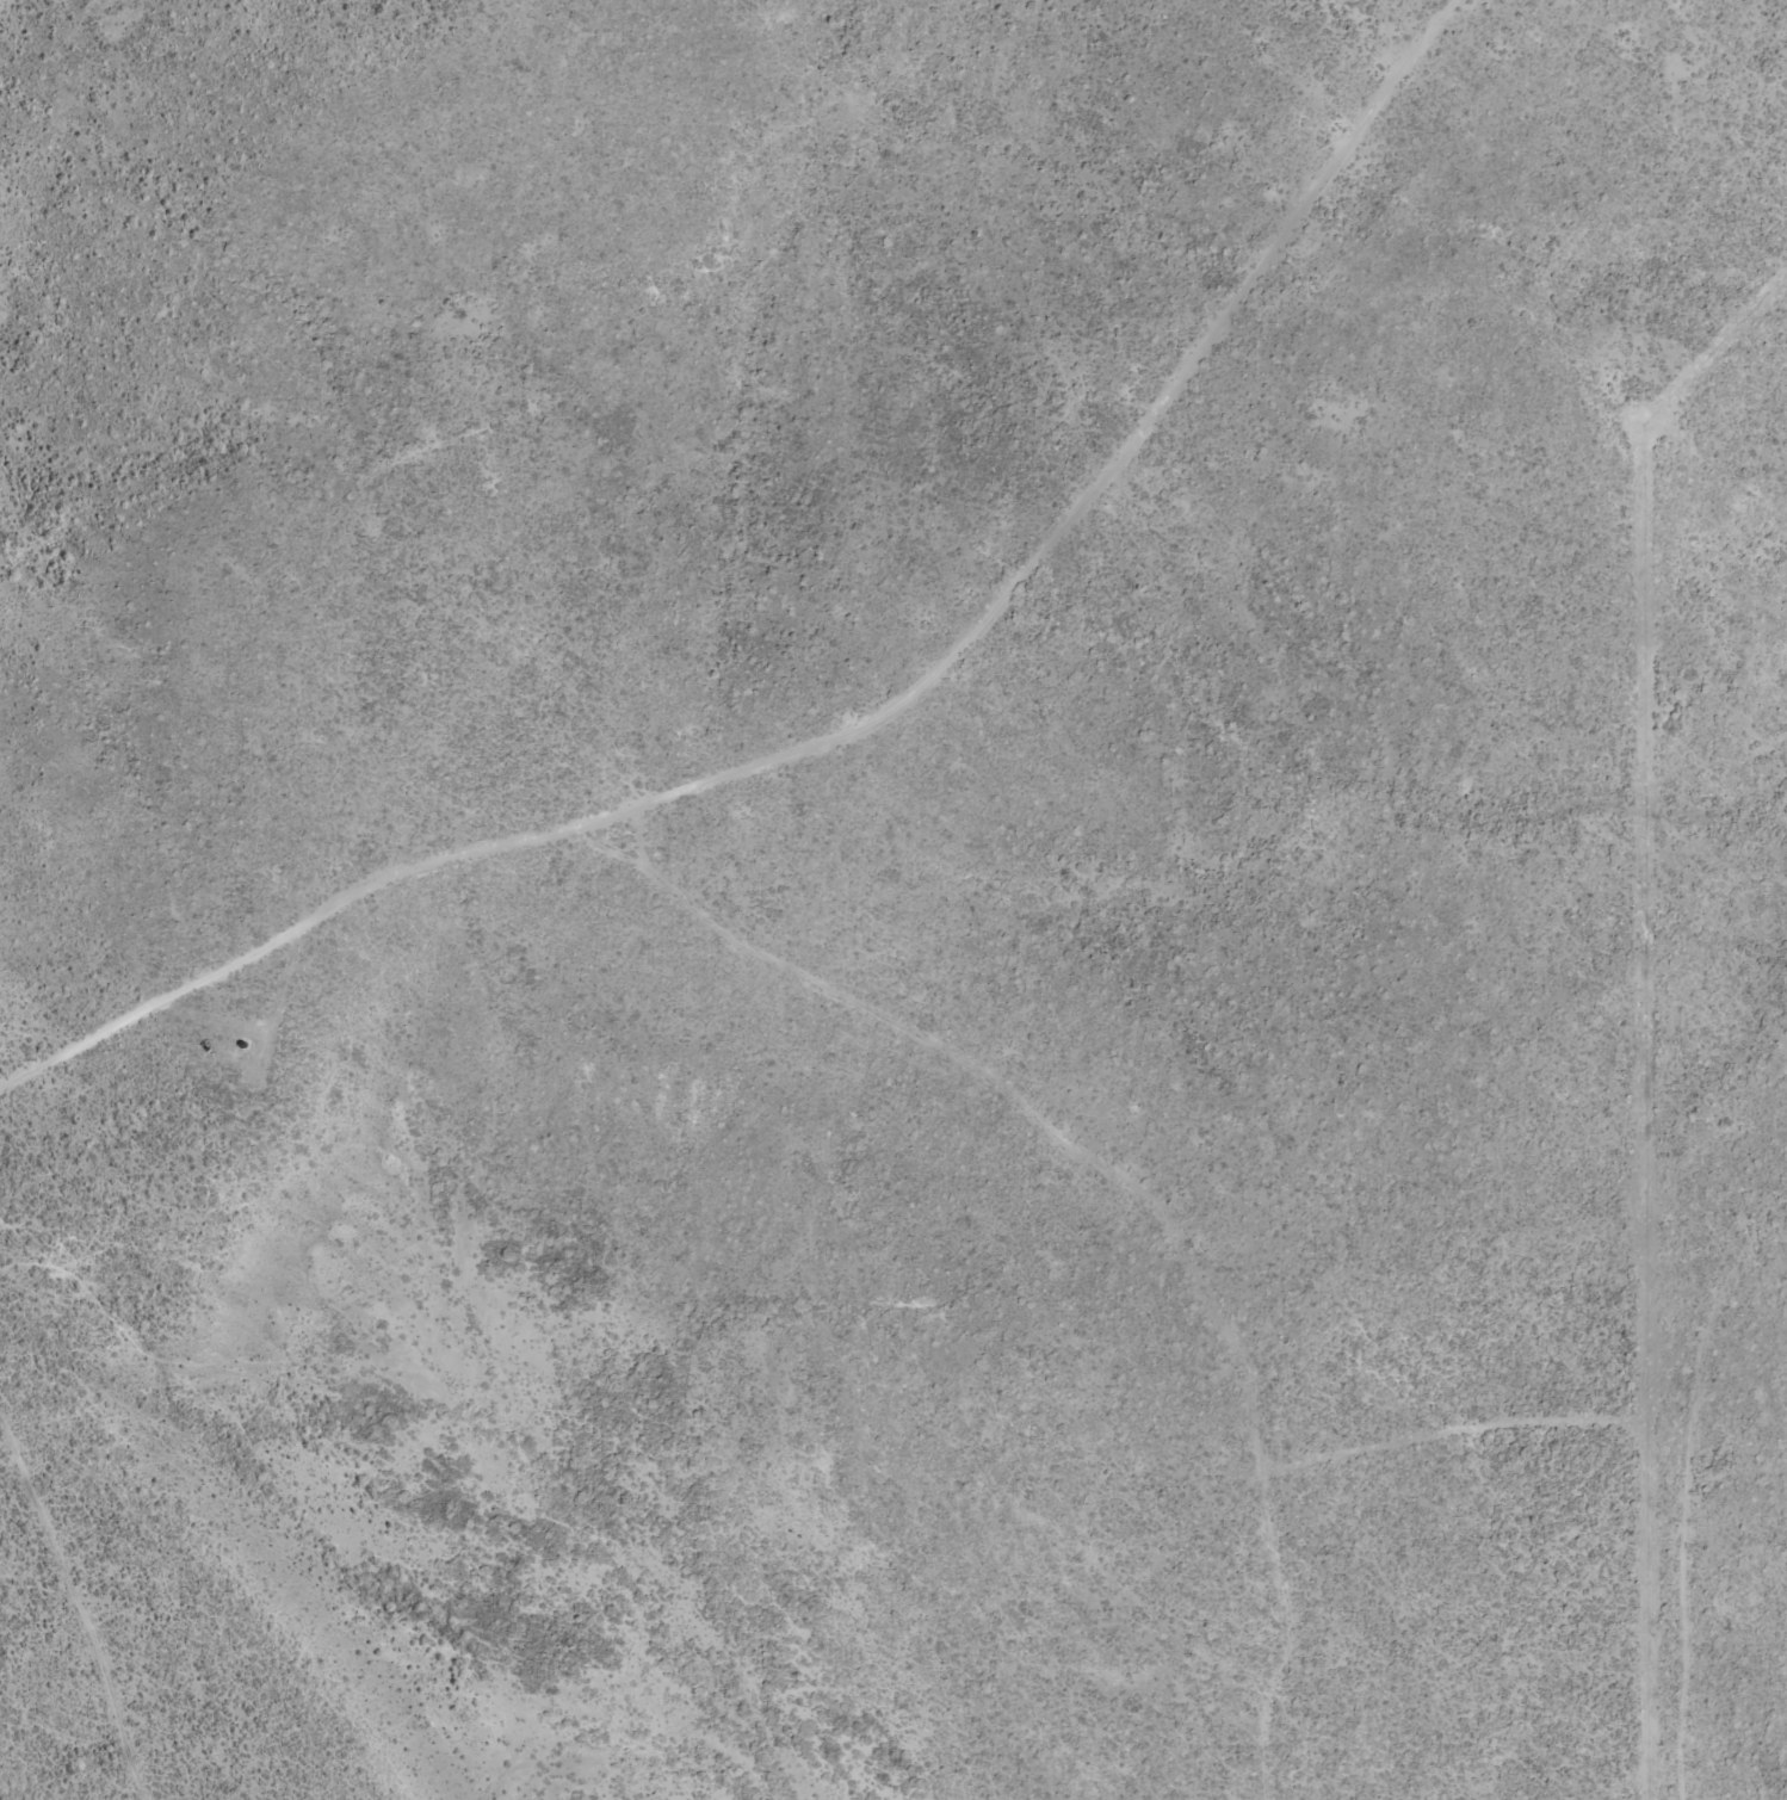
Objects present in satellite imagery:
road: (861, 726)
road: (1706, 1485)
road: (81, 1604)

